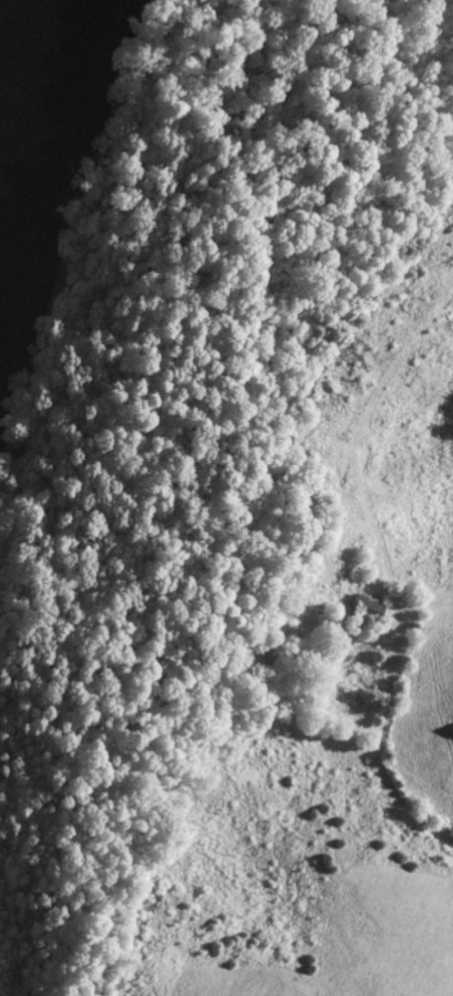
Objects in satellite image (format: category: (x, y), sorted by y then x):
river: (20, 70)

